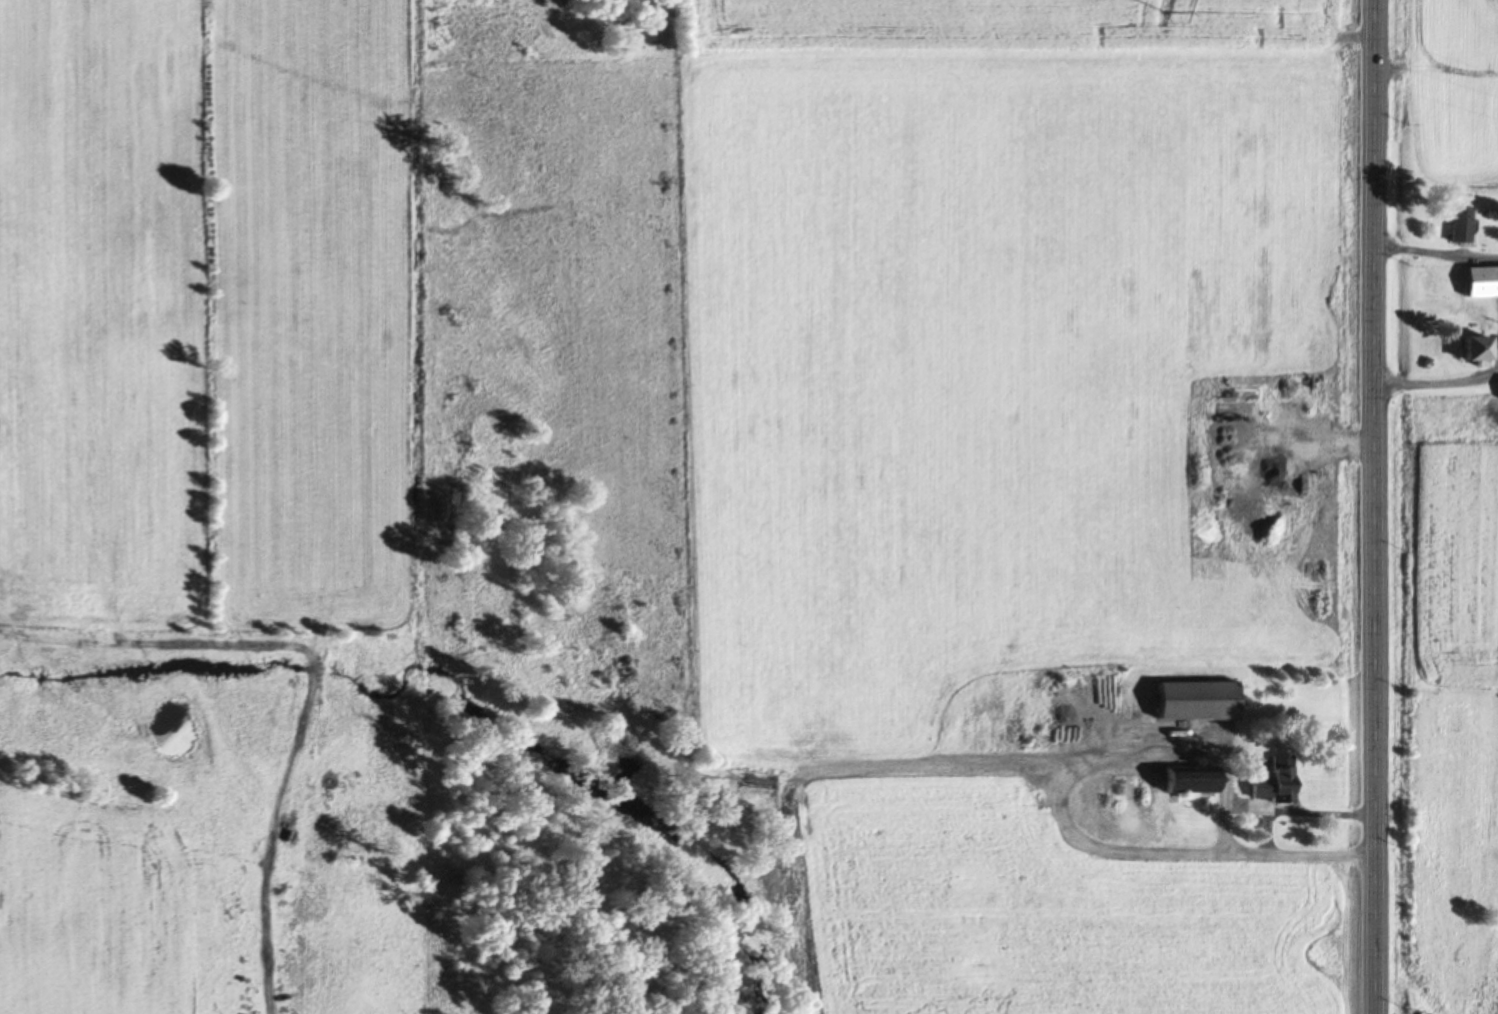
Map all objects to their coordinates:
building: (1460, 222)
building: (1481, 279)
building: (1474, 346)
road: (1377, 507)
building: (1193, 699)
building: (1187, 778)
building: (1273, 783)

